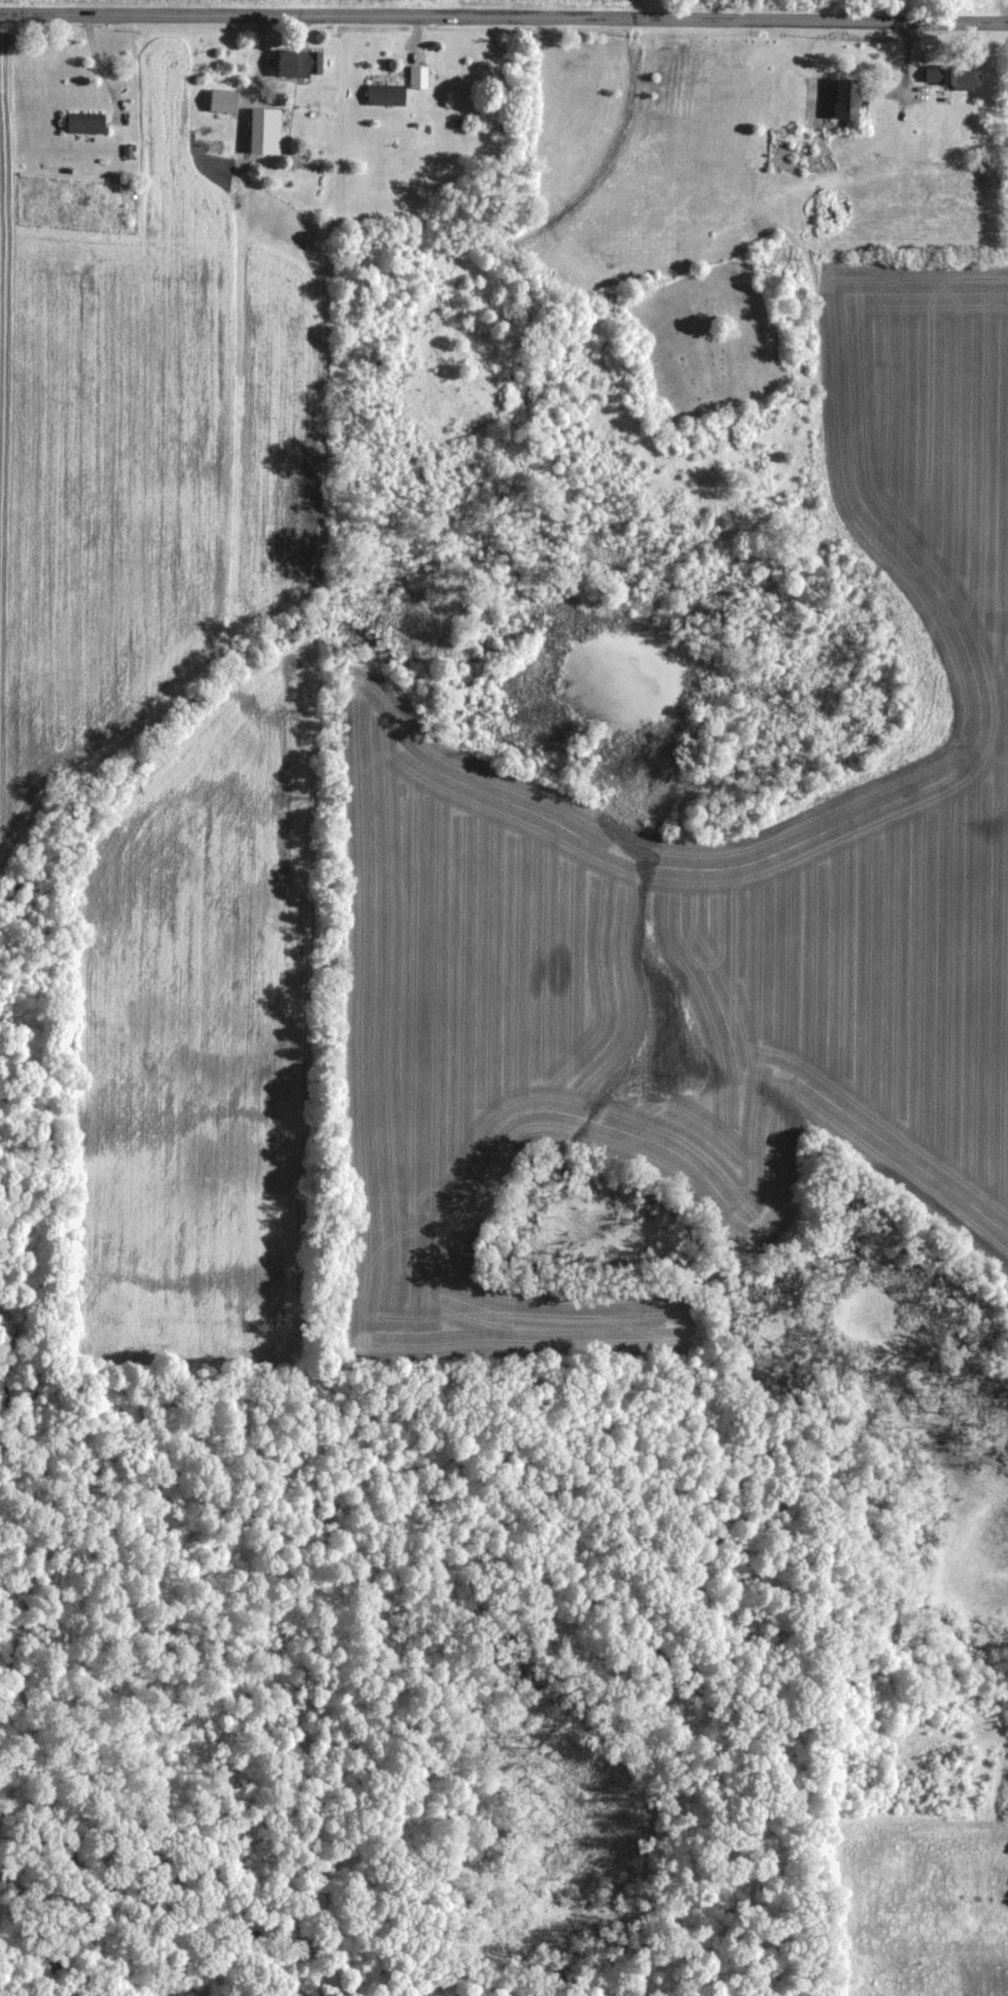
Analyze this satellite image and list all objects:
road: (503, 16)
road: (103, 62)
building: (292, 64)
building: (414, 77)
building: (944, 77)
building: (380, 95)
building: (941, 98)
building: (218, 101)
building: (838, 106)
building: (81, 122)
building: (259, 131)

